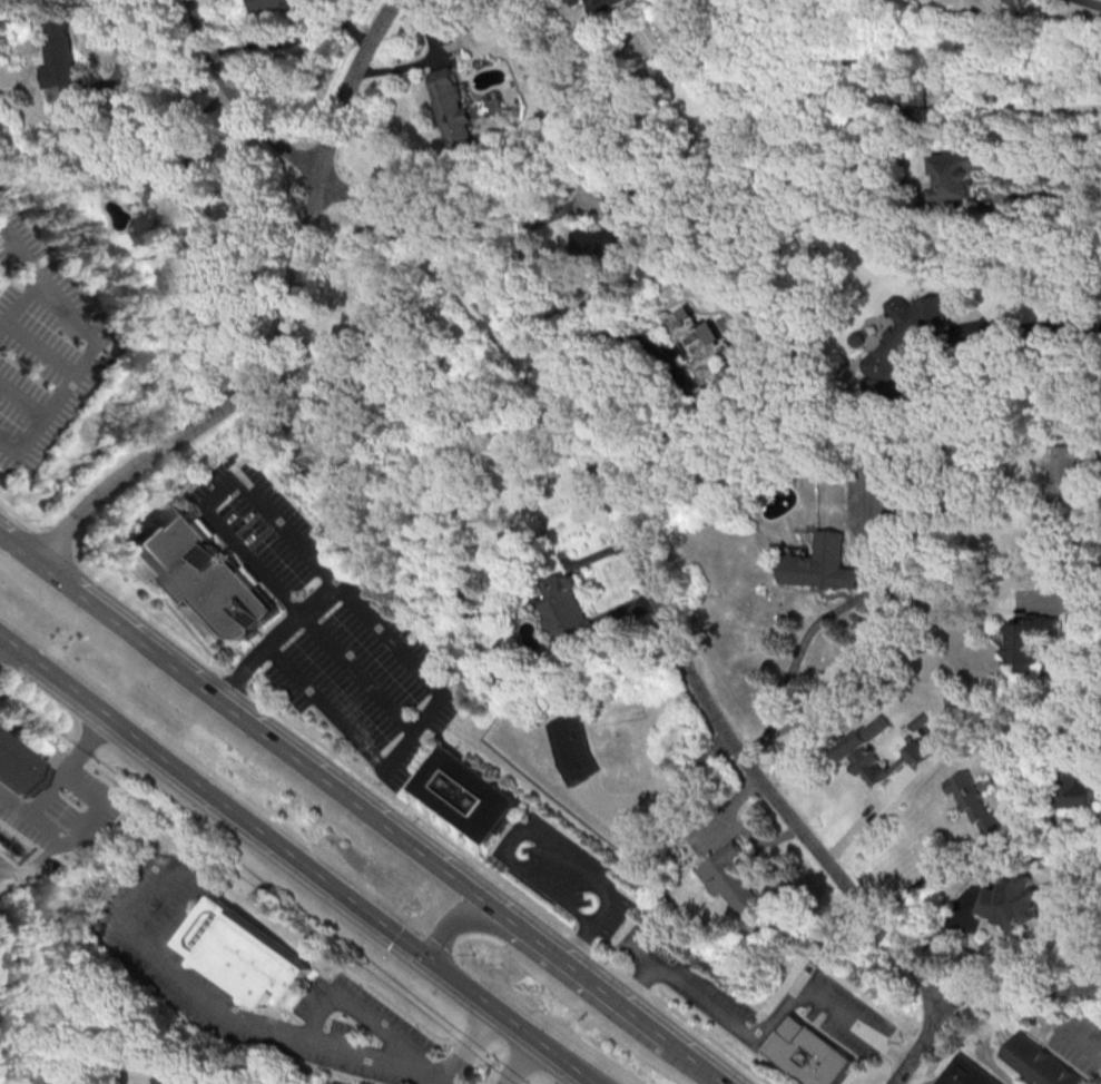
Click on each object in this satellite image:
building: (572, 1)
building: (276, 4)
building: (606, 9)
road: (119, 46)
building: (62, 58)
road: (350, 85)
building: (905, 105)
building: (450, 107)
road: (1026, 107)
road: (991, 167)
building: (954, 174)
building: (159, 203)
road: (194, 214)
building: (609, 229)
road: (517, 236)
road: (21, 307)
road: (1021, 334)
building: (904, 339)
road: (98, 346)
road: (45, 347)
building: (702, 348)
road: (680, 376)
road: (22, 398)
road: (225, 400)
building: (1062, 469)
road: (593, 472)
building: (818, 563)
building: (206, 571)
road: (1063, 594)
building: (567, 611)
road: (901, 615)
road: (313, 623)
building: (1029, 639)
road: (279, 642)
road: (243, 720)
road: (344, 726)
building: (573, 749)
building: (867, 753)
road: (70, 765)
building: (19, 767)
road: (670, 784)
building: (1073, 786)
road: (381, 789)
building: (466, 792)
building: (975, 802)
road: (72, 840)
road: (548, 842)
road: (296, 858)
road: (35, 865)
road: (932, 875)
building: (734, 879)
road: (248, 901)
building: (1014, 904)
road: (449, 923)
building: (242, 954)
traffic signals: (426, 956)
road: (574, 975)
road: (177, 978)
road: (1021, 991)
road: (711, 1006)
road: (356, 1013)
road: (856, 1023)
road: (921, 1042)
road: (1085, 1043)
road: (474, 1044)
building: (809, 1053)
road: (514, 1060)
road: (692, 1062)
building: (1039, 1062)
building: (964, 1073)
building: (169, 1078)
road: (578, 1080)

